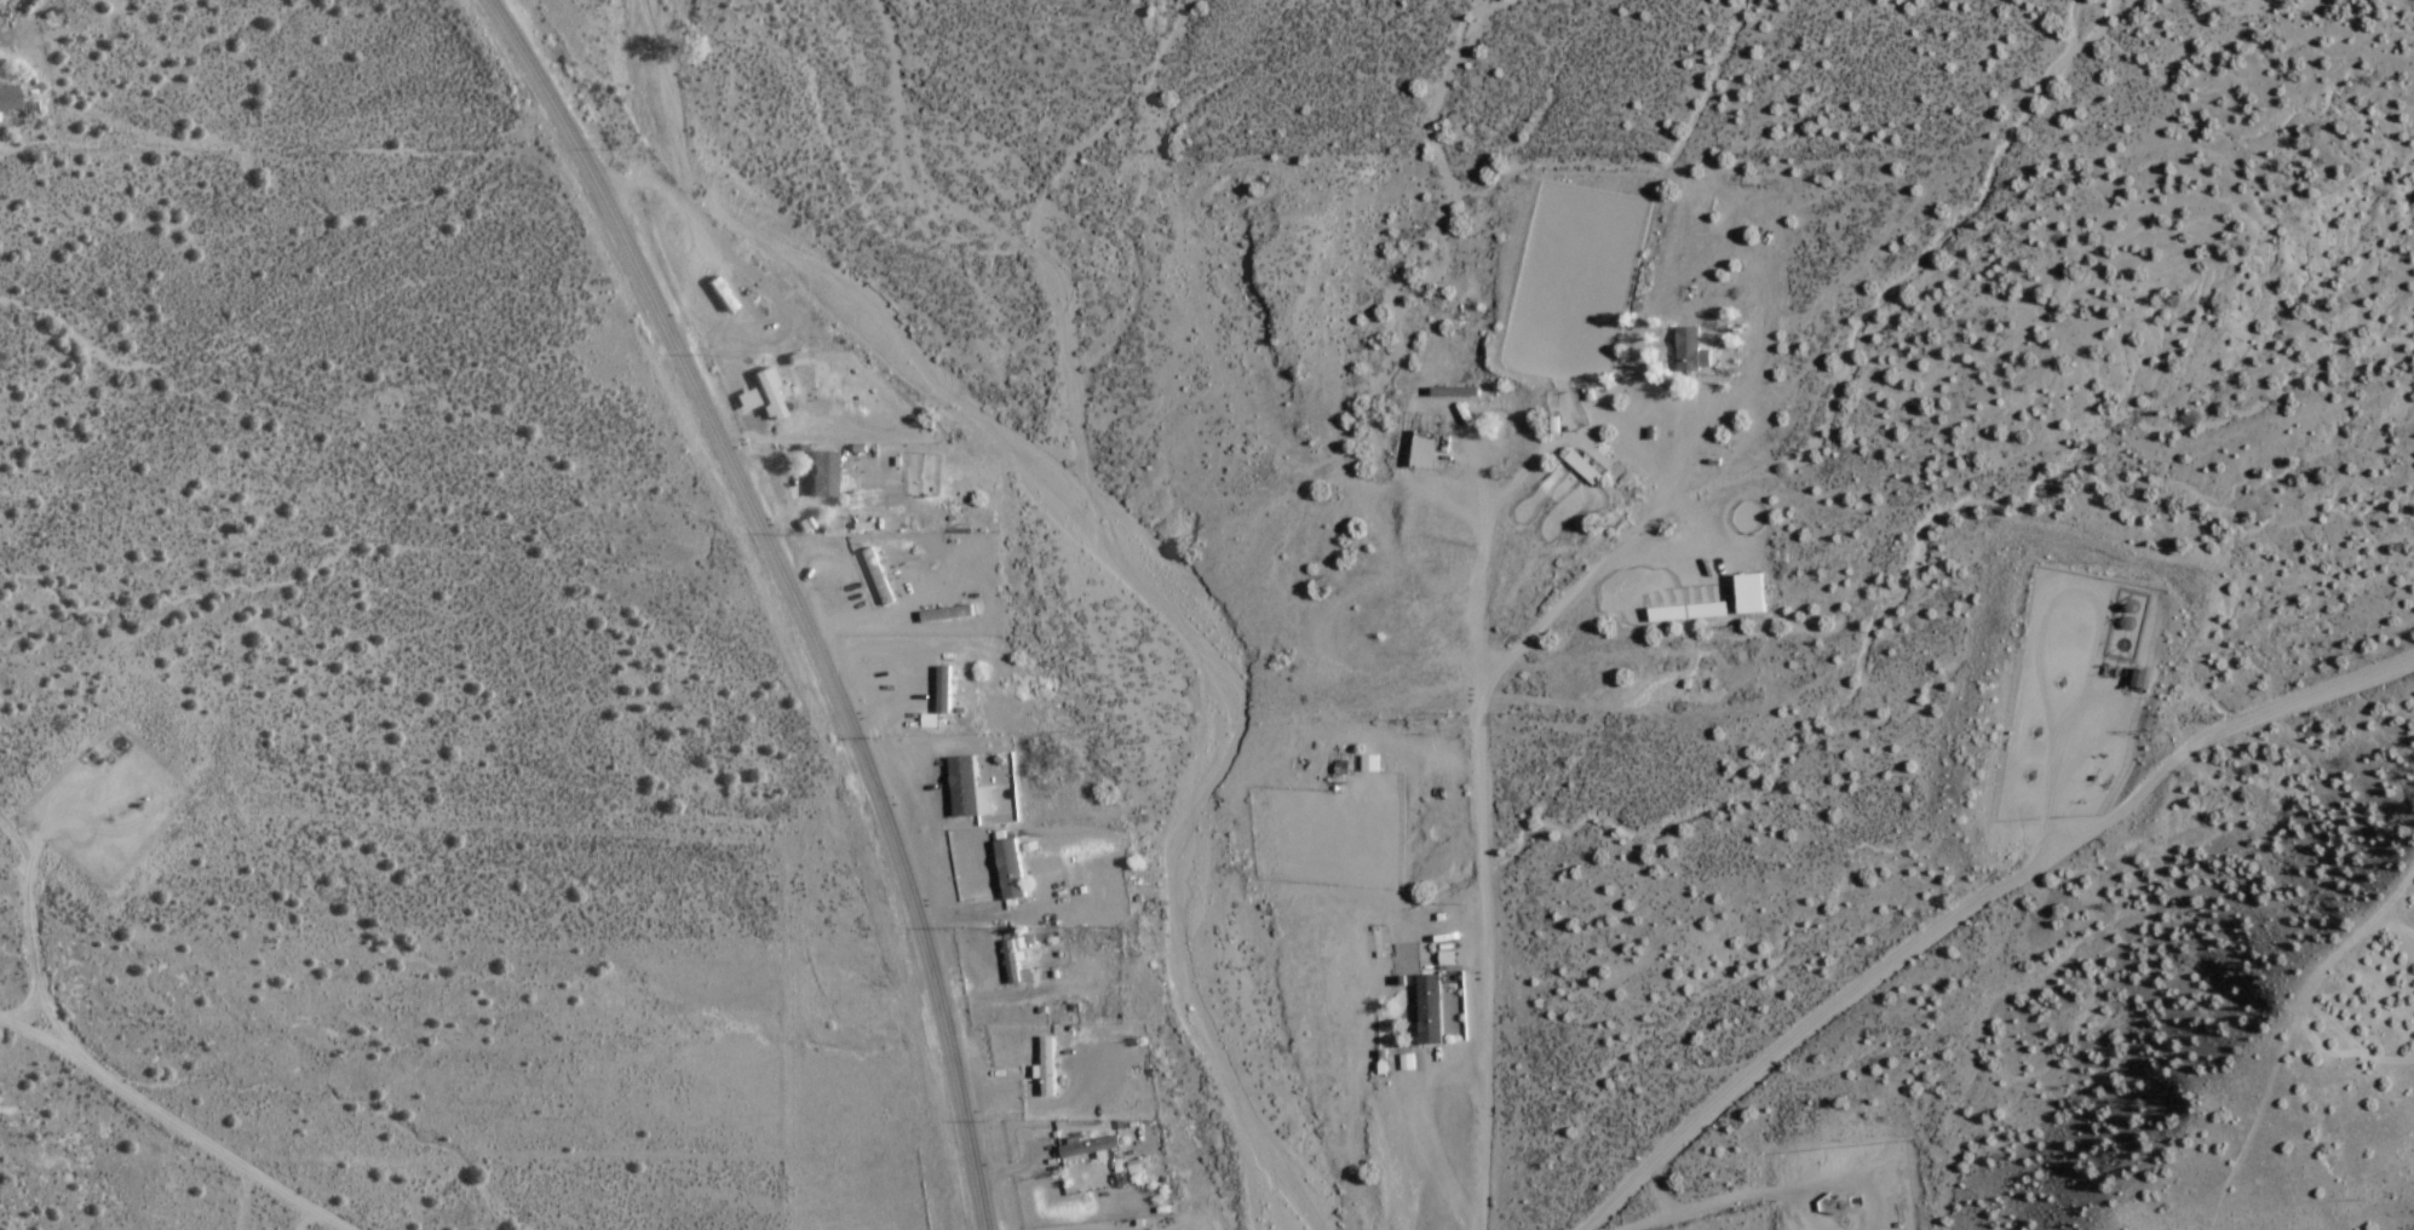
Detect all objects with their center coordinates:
building: (5, 102)
building: (1758, 332)
building: (1684, 350)
building: (768, 396)
building: (1454, 396)
road: (760, 432)
road: (1544, 450)
building: (1422, 456)
building: (1581, 470)
building: (820, 477)
road: (776, 481)
road: (1665, 487)
road: (1444, 490)
road: (801, 511)
road: (1408, 540)
river: (1116, 541)
road: (1479, 565)
building: (876, 579)
road: (788, 593)
building: (1747, 596)
building: (1684, 614)
building: (1391, 619)
road: (864, 621)
road: (873, 688)
building: (941, 692)
building: (1368, 766)
road: (902, 778)
building: (961, 788)
building: (1007, 870)
road: (1972, 903)
road: (28, 910)
road: (998, 914)
building: (1008, 964)
road: (1485, 966)
road: (1013, 996)
road: (23, 1007)
building: (1427, 1011)
building: (1047, 1065)
road: (1035, 1108)
road: (169, 1123)
road: (1424, 1131)
building: (1087, 1148)
road: (1007, 1173)
road: (1845, 1183)
road: (1656, 1192)
road: (1703, 1206)
road: (1797, 1213)

